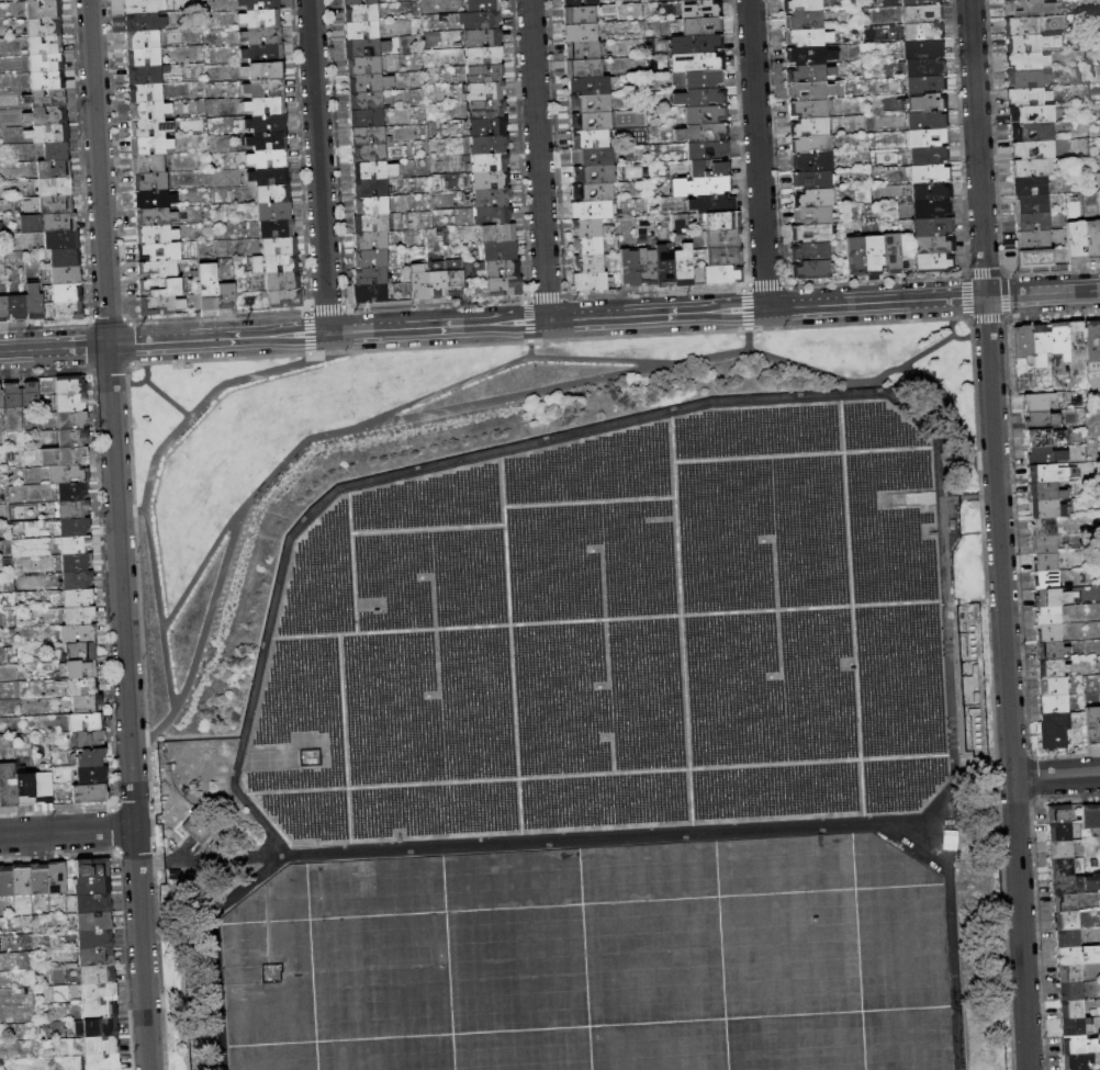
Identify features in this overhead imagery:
building: (37, 0)
building: (563, 0)
building: (692, 0)
building: (371, 1)
building: (351, 2)
building: (572, 3)
building: (593, 3)
building: (920, 3)
building: (259, 4)
building: (483, 5)
building: (802, 5)
building: (144, 7)
building: (1029, 8)
building: (701, 9)
building: (45, 10)
building: (361, 13)
building: (921, 14)
building: (581, 15)
building: (261, 19)
building: (481, 21)
building: (805, 21)
building: (145, 22)
building: (703, 25)
building: (1022, 26)
building: (45, 29)
building: (362, 30)
building: (922, 32)
building: (581, 33)
building: (261, 36)
building: (809, 37)
building: (483, 38)
building: (144, 40)
building: (696, 44)
building: (1032, 44)
building: (46, 46)
building: (367, 47)
building: (584, 50)
building: (923, 50)
building: (263, 53)
building: (819, 55)
building: (484, 56)
building: (145, 58)
building: (1026, 61)
building: (697, 63)
building: (47, 64)
building: (364, 66)
building: (925, 67)
building: (584, 68)
building: (263, 71)
building: (810, 74)
building: (148, 75)
building: (485, 75)
building: (705, 79)
building: (1028, 79)
building: (48, 81)
building: (366, 83)
building: (925, 85)
building: (590, 86)
building: (265, 89)
building: (816, 90)
building: (485, 92)
building: (146, 93)
building: (1029, 97)
building: (700, 98)
building: (46, 99)
building: (367, 101)
building: (591, 103)
building: (928, 103)
building: (266, 106)
building: (809, 109)
building: (486, 110)
building: (149, 111)
building: (707, 114)
building: (1032, 114)
building: (47, 116)
building: (368, 119)
building: (927, 120)
building: (592, 121)
building: (267, 123)
building: (489, 127)
building: (810, 127)
building: (150, 128)
building: (1033, 132)
building: (703, 133)
building: (49, 134)
building: (368, 136)
building: (928, 137)
building: (591, 139)
building: (268, 142)
building: (489, 145)
building: (811, 145)
building: (150, 146)
building: (1033, 149)
building: (708, 150)
building: (56, 151)
building: (369, 154)
road: (757, 155)
building: (929, 155)
building: (593, 157)
building: (269, 159)
road: (539, 160)
building: (812, 162)
building: (148, 164)
building: (490, 164)
road: (318, 167)
building: (1032, 168)
building: (55, 169)
building: (710, 169)
building: (374, 171)
building: (930, 173)
building: (595, 174)
building: (270, 177)
building: (812, 180)
building: (151, 181)
building: (491, 181)
building: (54, 187)
building: (701, 187)
building: (1031, 187)
building: (372, 189)
building: (593, 192)
building: (931, 192)
building: (273, 193)
building: (492, 198)
building: (815, 198)
building: (155, 199)
building: (714, 204)
building: (1031, 204)
building: (53, 205)
building: (372, 205)
building: (932, 209)
building: (274, 211)
building: (592, 211)
building: (815, 215)
building: (493, 216)
building: (156, 217)
building: (1033, 221)
building: (722, 222)
building: (48, 223)
building: (371, 224)
building: (933, 226)
building: (277, 228)
building: (588, 228)
building: (812, 233)
building: (497, 234)
building: (169, 235)
building: (723, 239)
building: (1033, 239)
building: (61, 240)
building: (371, 240)
building: (1093, 240)
building: (1078, 243)
building: (934, 245)
building: (280, 246)
building: (588, 246)
building: (501, 250)
building: (160, 251)
building: (811, 251)
building: (893, 252)
building: (874, 255)
building: (856, 256)
building: (725, 257)
building: (66, 258)
building: (370, 258)
building: (1035, 258)
building: (934, 262)
building: (590, 263)
building: (276, 264)
building: (684, 266)
building: (648, 267)
building: (665, 267)
building: (503, 268)
building: (629, 268)
building: (158, 269)
building: (812, 270)
building: (722, 274)
building: (67, 275)
building: (371, 277)
building: (284, 281)
building: (592, 281)
building: (454, 282)
building: (437, 284)
building: (420, 285)
building: (162, 286)
building: (209, 286)
building: (505, 286)
building: (371, 294)
building: (227, 295)
building: (287, 299)
building: (34, 302)
building: (67, 303)
building: (161, 305)
building: (16, 307)
building: (3, 309)
road: (549, 320)
road: (748, 330)
road: (953, 334)
road: (530, 339)
building: (1060, 339)
building: (1024, 341)
building: (1077, 341)
building: (1041, 345)
building: (1093, 345)
road: (925, 351)
road: (505, 364)
road: (144, 379)
building: (70, 385)
building: (12, 395)
building: (31, 395)
building: (1, 397)
road: (166, 398)
road: (497, 398)
building: (1039, 402)
building: (71, 403)
building: (72, 420)
building: (1043, 421)
building: (74, 438)
building: (1046, 439)
building: (65, 457)
building: (1046, 457)
road: (409, 464)
building: (1048, 473)
building: (68, 474)
road: (149, 476)
building: (72, 492)
building: (1046, 492)
building: (75, 509)
building: (1044, 509)
road: (132, 510)
building: (76, 527)
building: (1044, 527)
road: (120, 534)
road: (998, 534)
building: (76, 544)
building: (1044, 544)
building: (77, 562)
road: (203, 562)
building: (1046, 562)
building: (1047, 579)
building: (78, 581)
building: (79, 598)
building: (1052, 598)
building: (80, 616)
building: (1050, 616)
building: (79, 633)
building: (1050, 633)
solar farm: (615, 637)
building: (1053, 651)
building: (81, 652)
building: (1, 653)
building: (1054, 668)
building: (81, 669)
building: (1054, 686)
building: (83, 687)
building: (1055, 703)
building: (87, 705)
building: (87, 722)
building: (1092, 727)
building: (1055, 730)
building: (90, 740)
building: (91, 758)
building: (93, 776)
road: (1056, 776)
building: (9, 786)
building: (43, 788)
building: (25, 789)
building: (90, 793)
building: (1059, 813)
building: (1091, 815)
building: (193, 829)
road: (68, 831)
building: (1059, 831)
building: (1060, 849)
building: (1062, 867)
building: (93, 868)
building: (57, 878)
building: (21, 879)
building: (38, 879)
building: (7, 881)
building: (1075, 885)
building: (93, 886)
building: (1066, 903)
building: (93, 904)
building: (1067, 921)
building: (94, 922)
building: (1068, 938)
building: (96, 939)
building: (1079, 956)
building: (98, 957)
building: (1070, 973)
building: (98, 975)
building: (1071, 991)
building: (99, 992)
building: (1073, 1010)
building: (100, 1011)
building: (1075, 1026)
building: (97, 1028)
building: (102, 1045)
building: (1079, 1045)
building: (103, 1061)
building: (1078, 1061)

